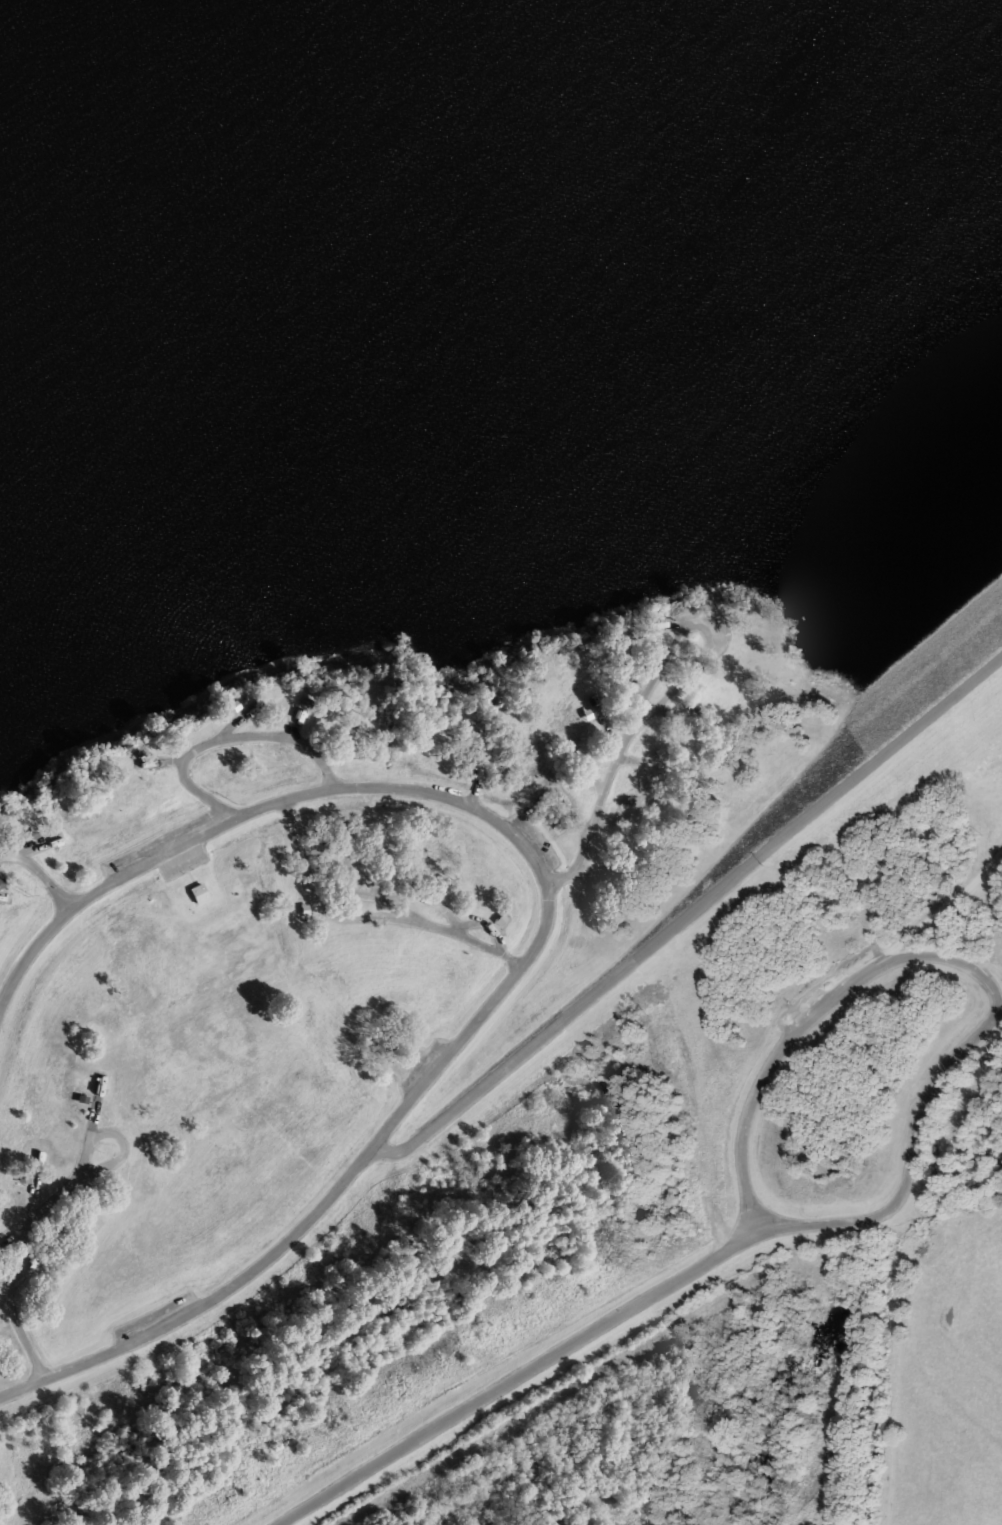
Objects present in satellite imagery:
road: (628, 664)
road: (710, 666)
road: (688, 678)
building: (235, 704)
road: (223, 738)
road: (611, 747)
road: (477, 767)
road: (585, 767)
road: (413, 790)
road: (531, 809)
road: (586, 831)
building: (34, 833)
road: (585, 869)
road: (38, 872)
building: (199, 894)
road: (1, 899)
road: (686, 917)
road: (364, 918)
building: (499, 919)
road: (791, 1032)
road: (384, 1039)
road: (966, 1039)
road: (90, 1107)
road: (109, 1163)
building: (22, 1174)
road: (895, 1206)
road: (831, 1223)
road: (10, 1270)
road: (205, 1299)
road: (892, 1364)
road: (518, 1374)

